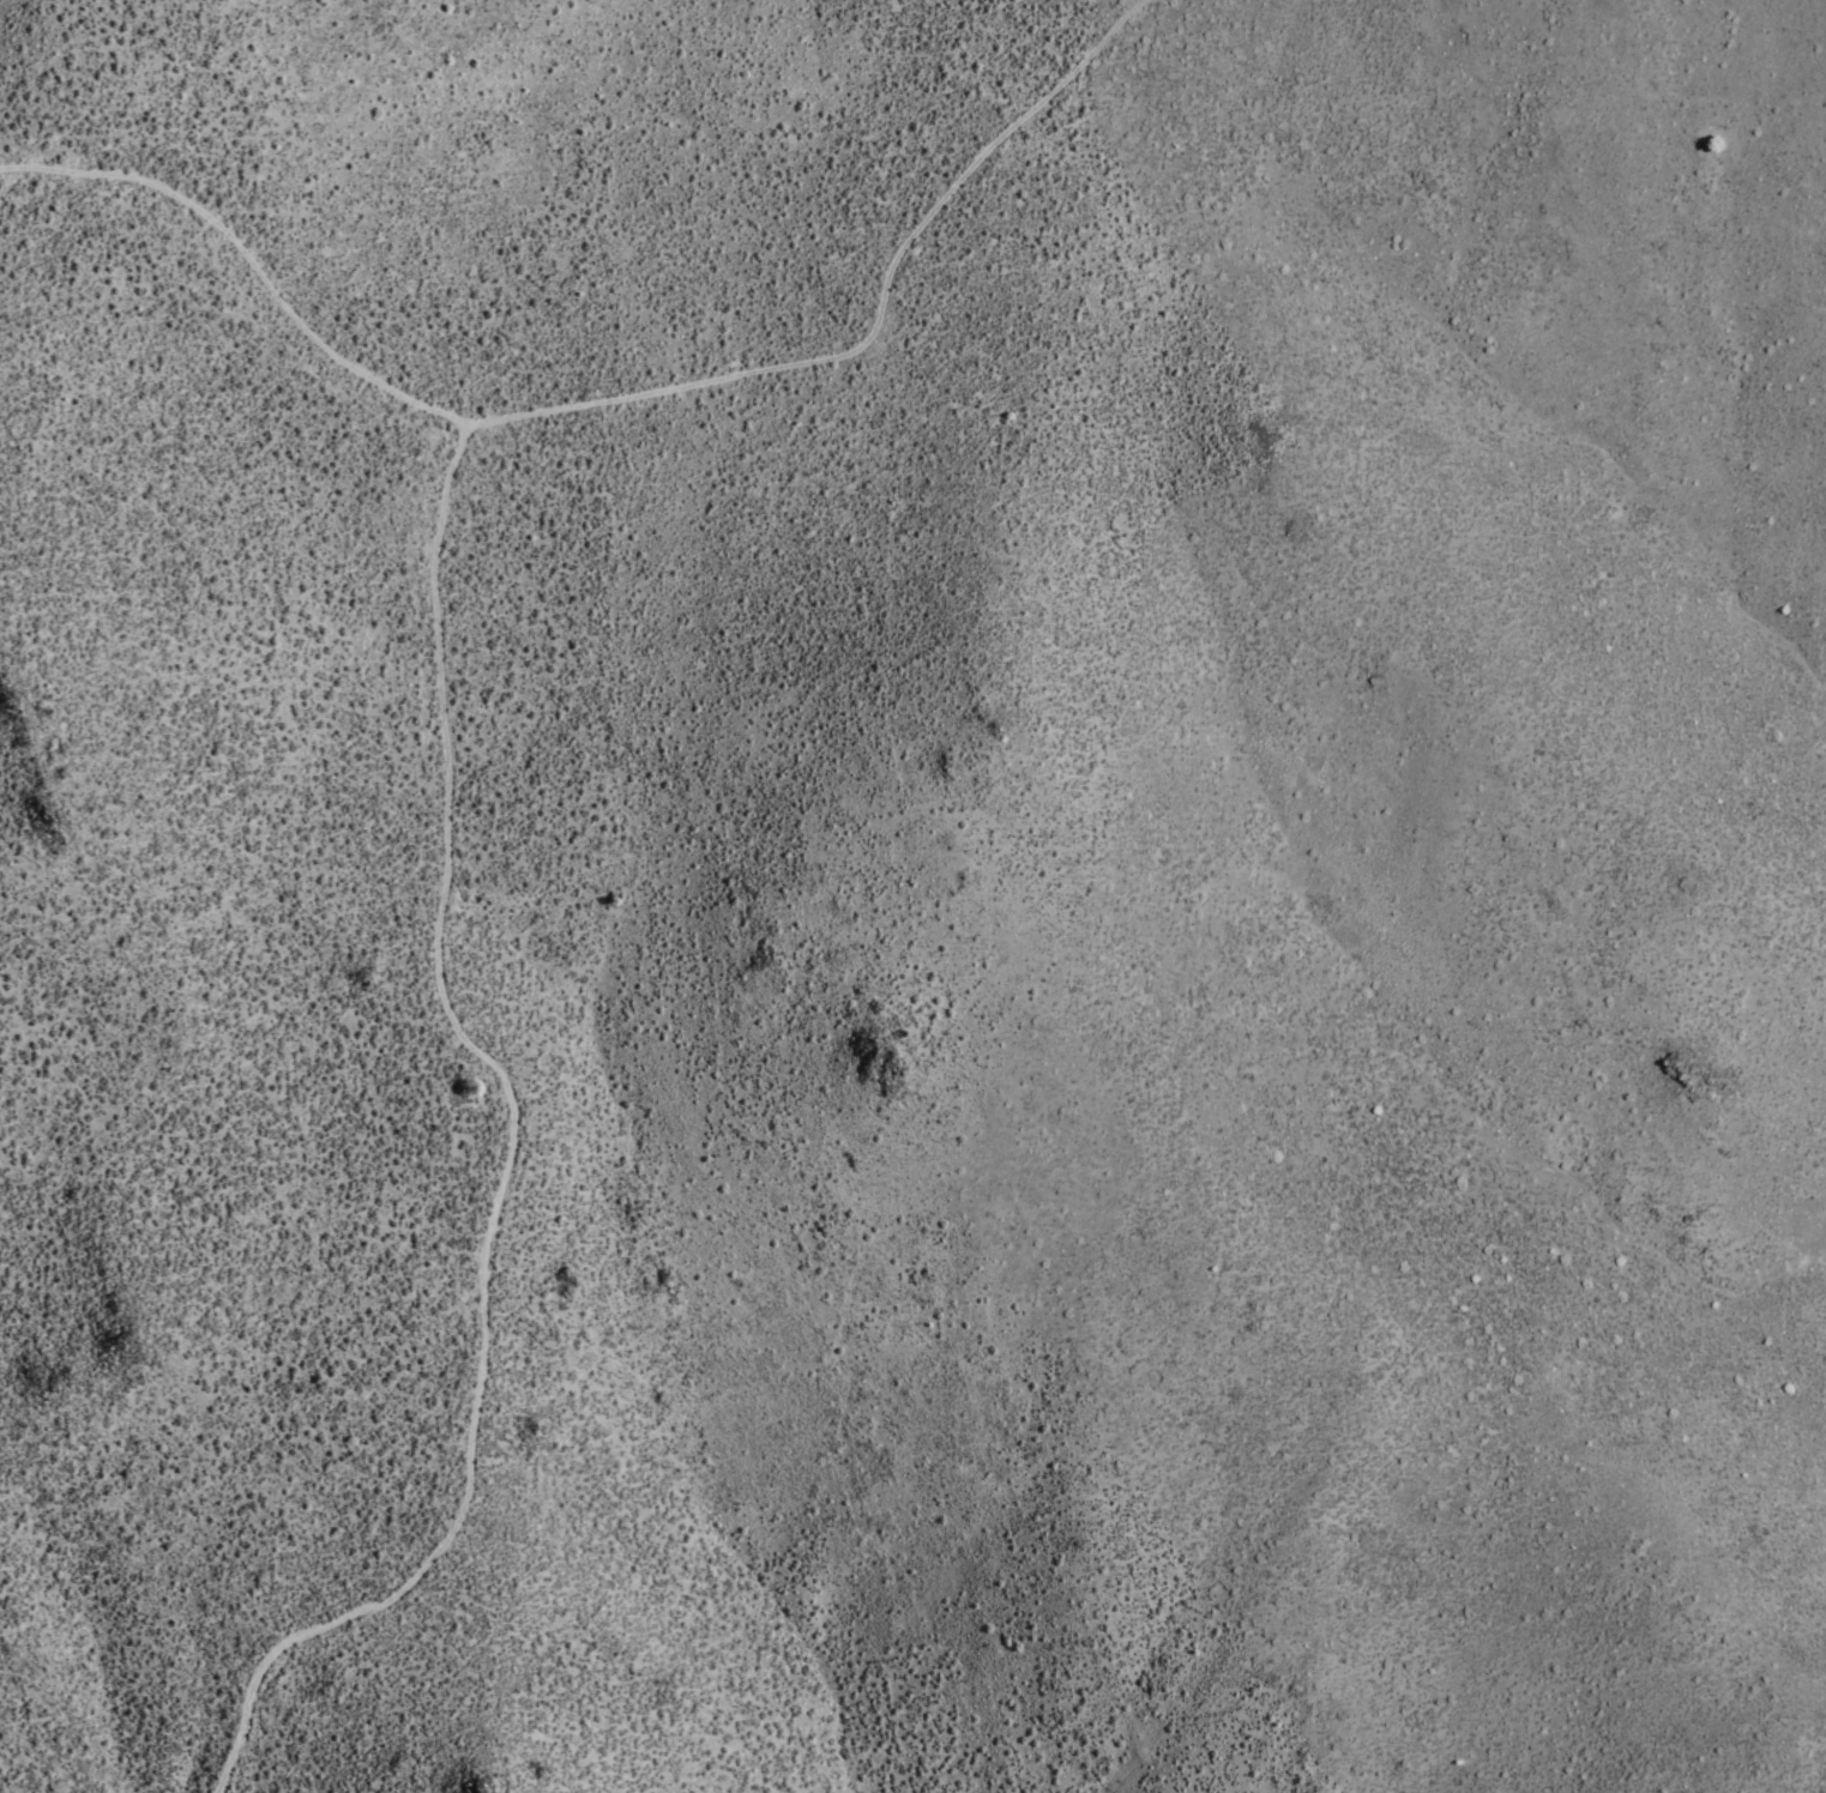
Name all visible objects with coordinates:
road: (615, 396)
road: (510, 1151)

